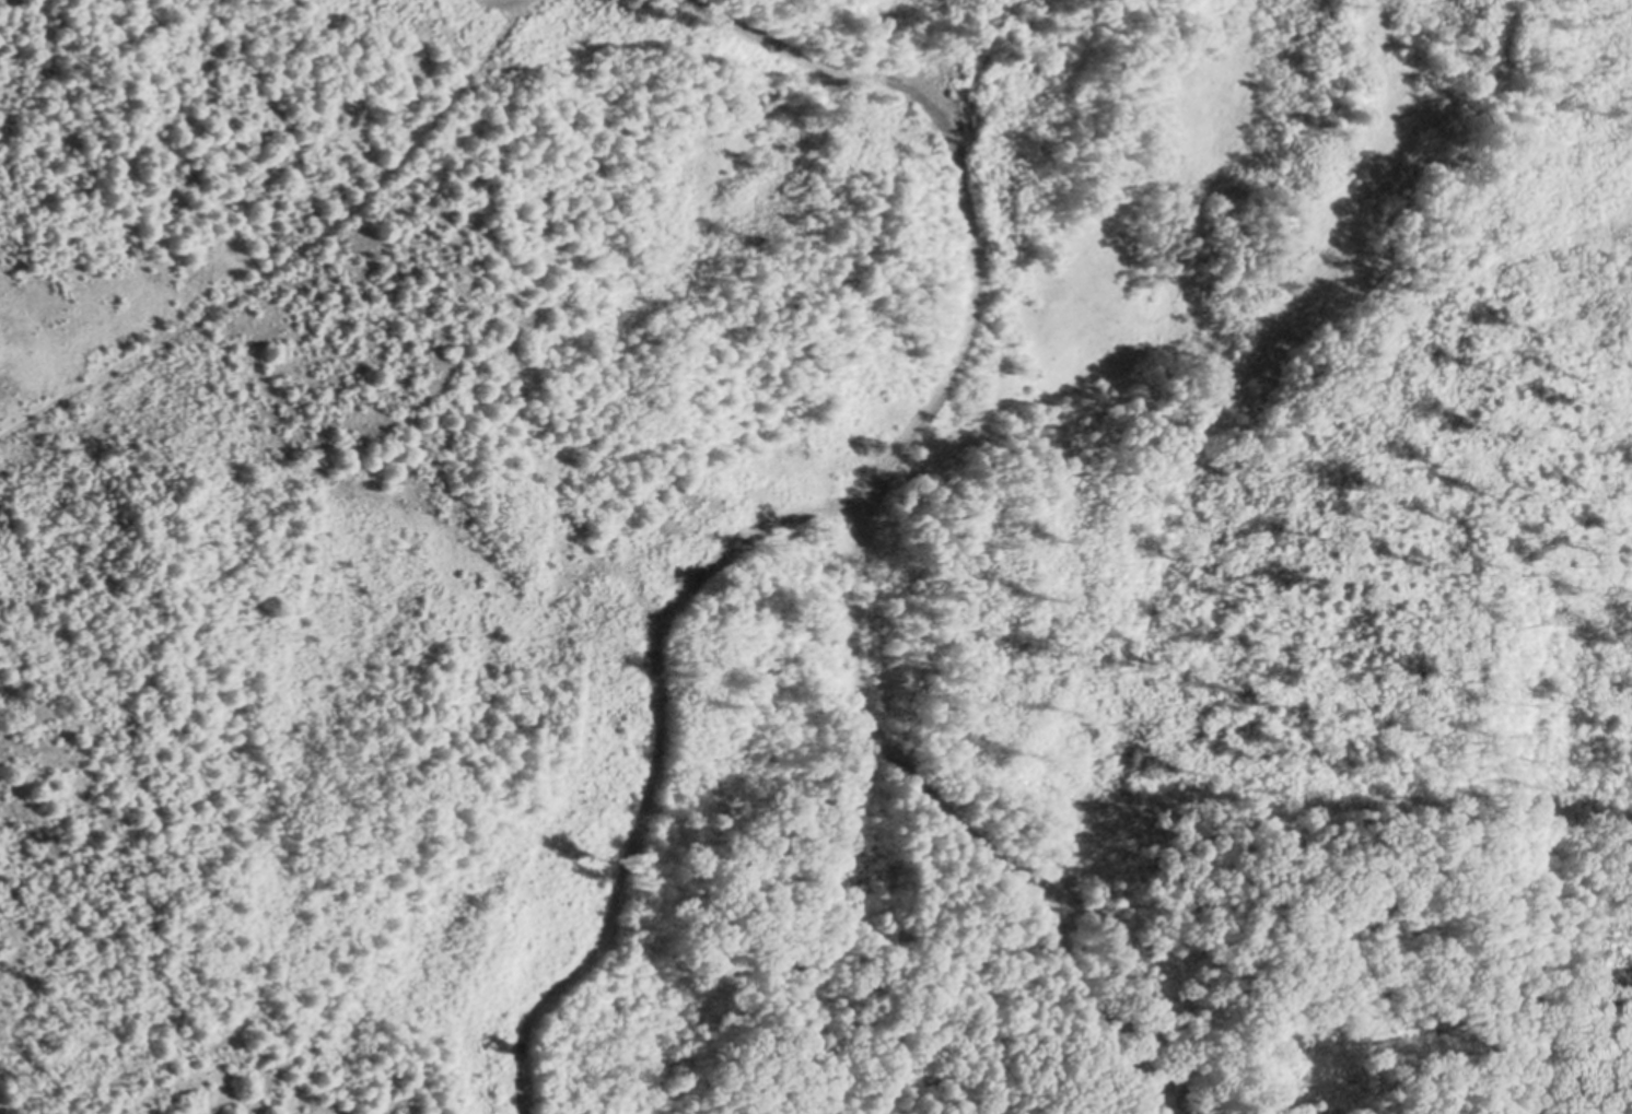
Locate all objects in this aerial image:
road: (296, 253)
road: (829, 508)
road: (853, 621)

